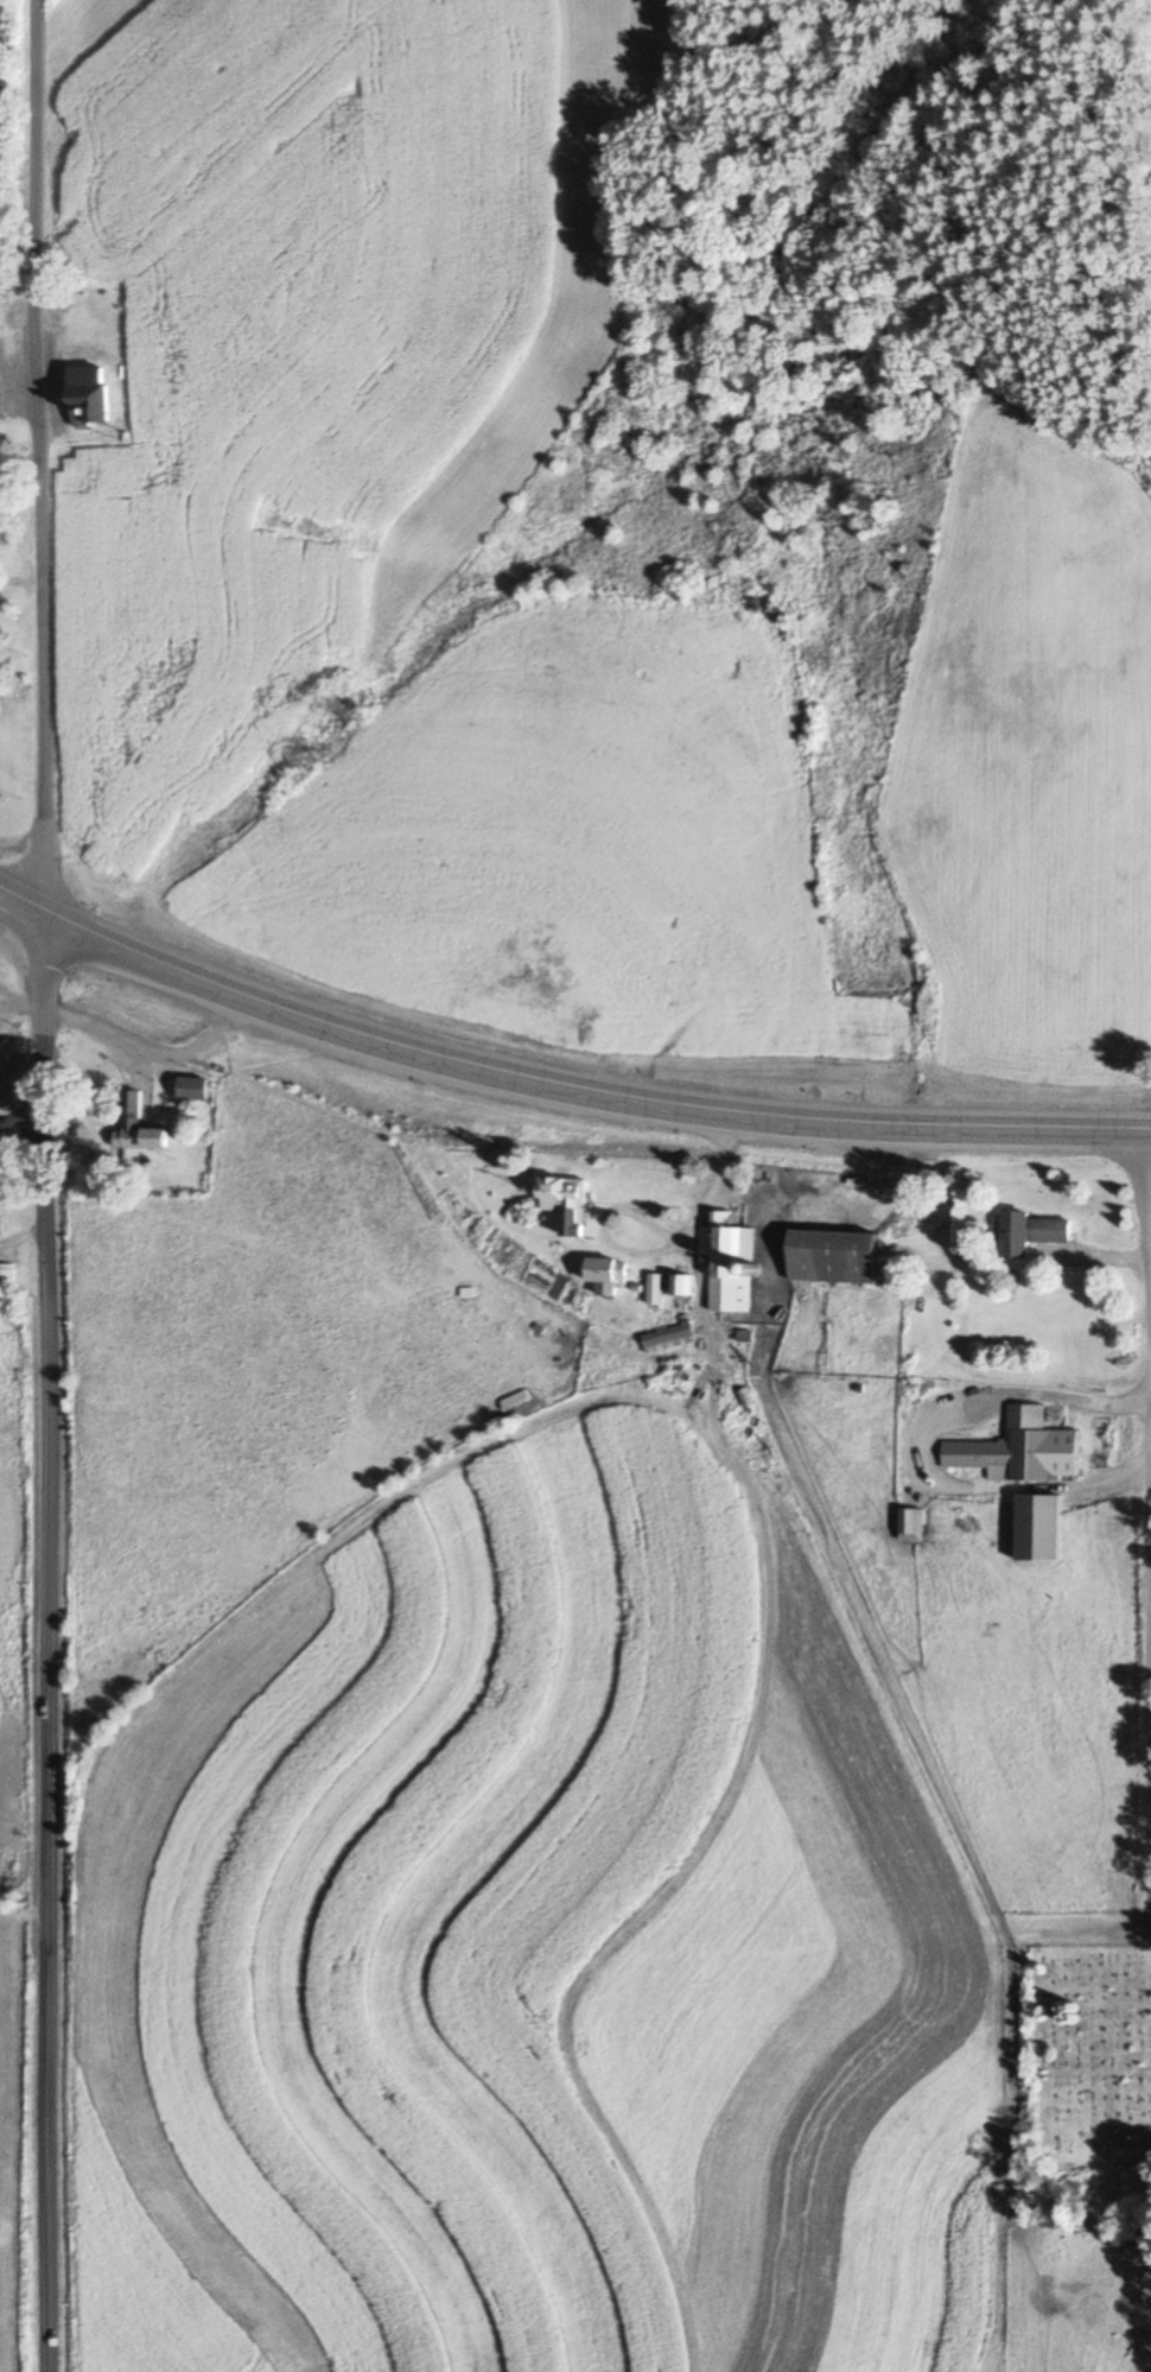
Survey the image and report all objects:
building: (88, 386)
road: (42, 455)
road: (152, 1045)
road: (560, 1082)
building: (190, 1090)
building: (135, 1125)
road: (23, 1128)
building: (566, 1201)
road: (1150, 1207)
building: (1030, 1223)
building: (832, 1257)
building: (727, 1258)
building: (608, 1269)
building: (8, 1276)
building: (681, 1285)
building: (655, 1289)
building: (638, 1296)
building: (667, 1336)
road: (50, 1448)
building: (1011, 1453)
building: (909, 1527)
building: (1036, 1529)
road: (1147, 1755)
road: (47, 2180)

